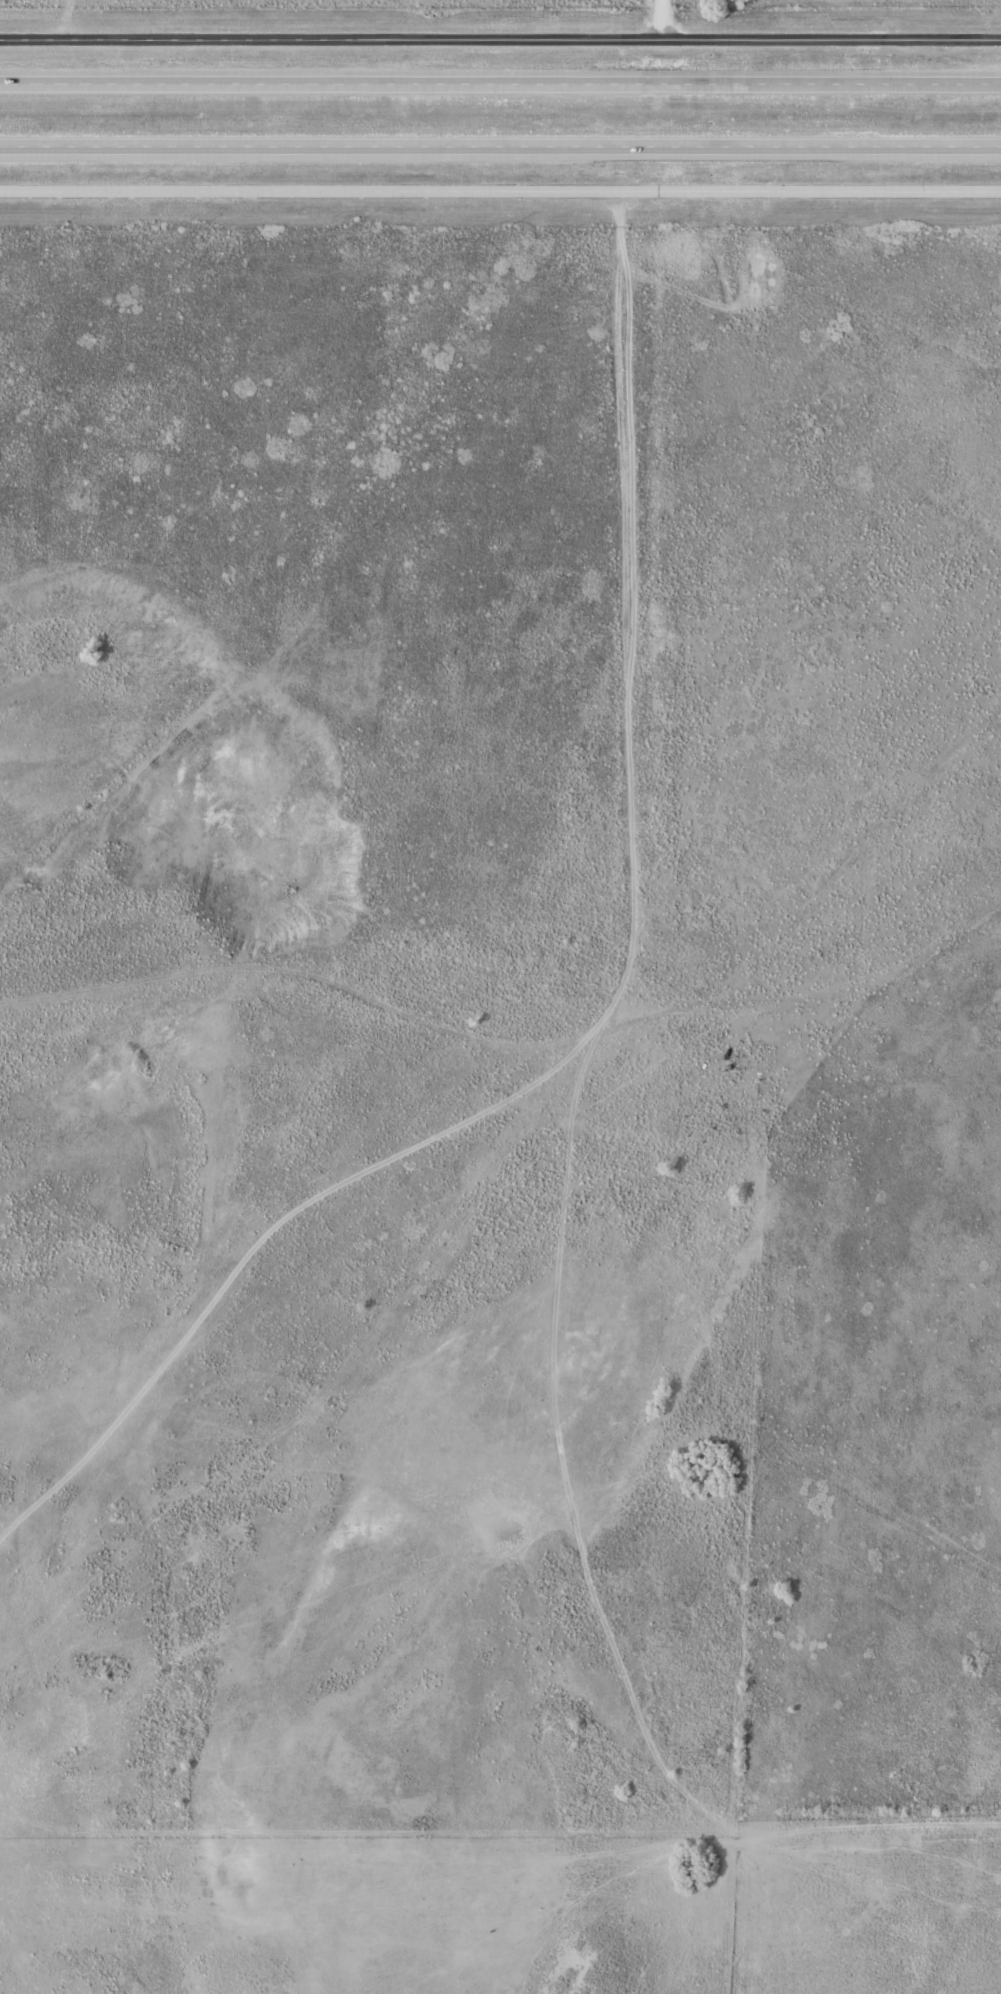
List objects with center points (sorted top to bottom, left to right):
road: (500, 37)
road: (500, 80)
road: (500, 144)
road: (500, 189)

